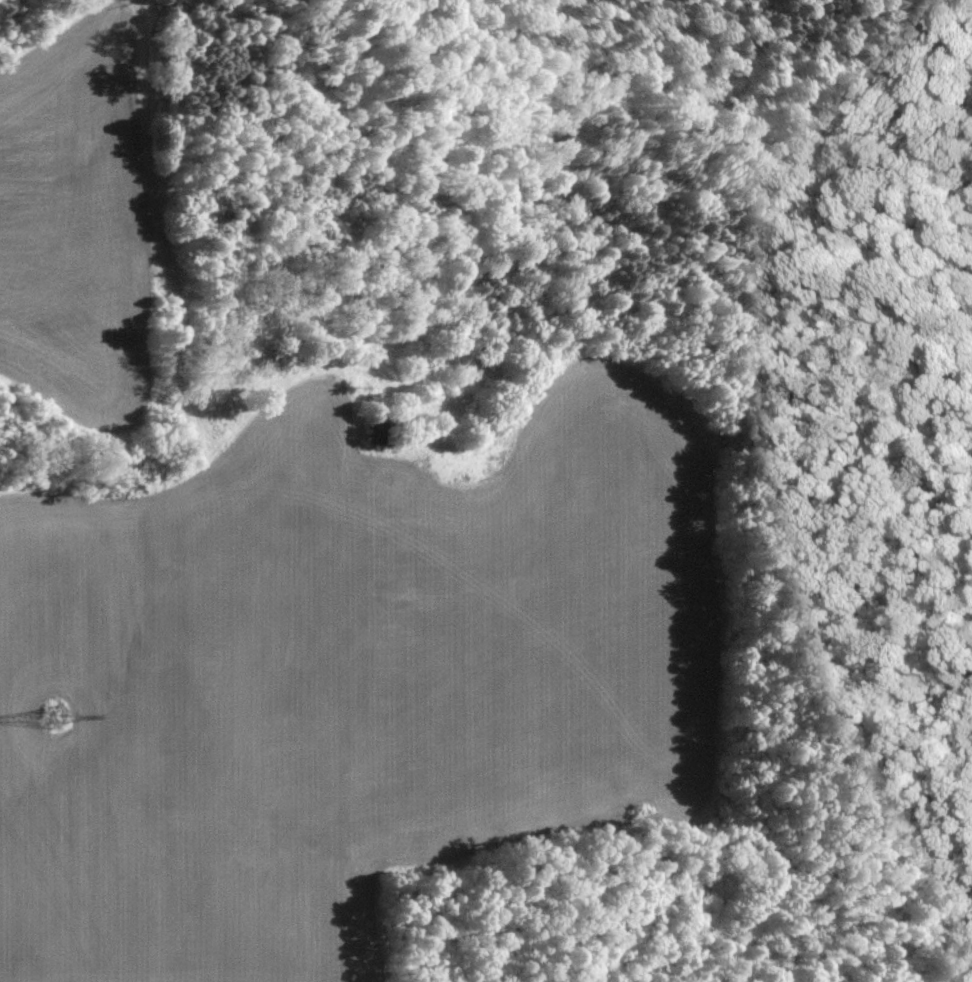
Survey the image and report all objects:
road: (136, 315)
power tower: (47, 719)

